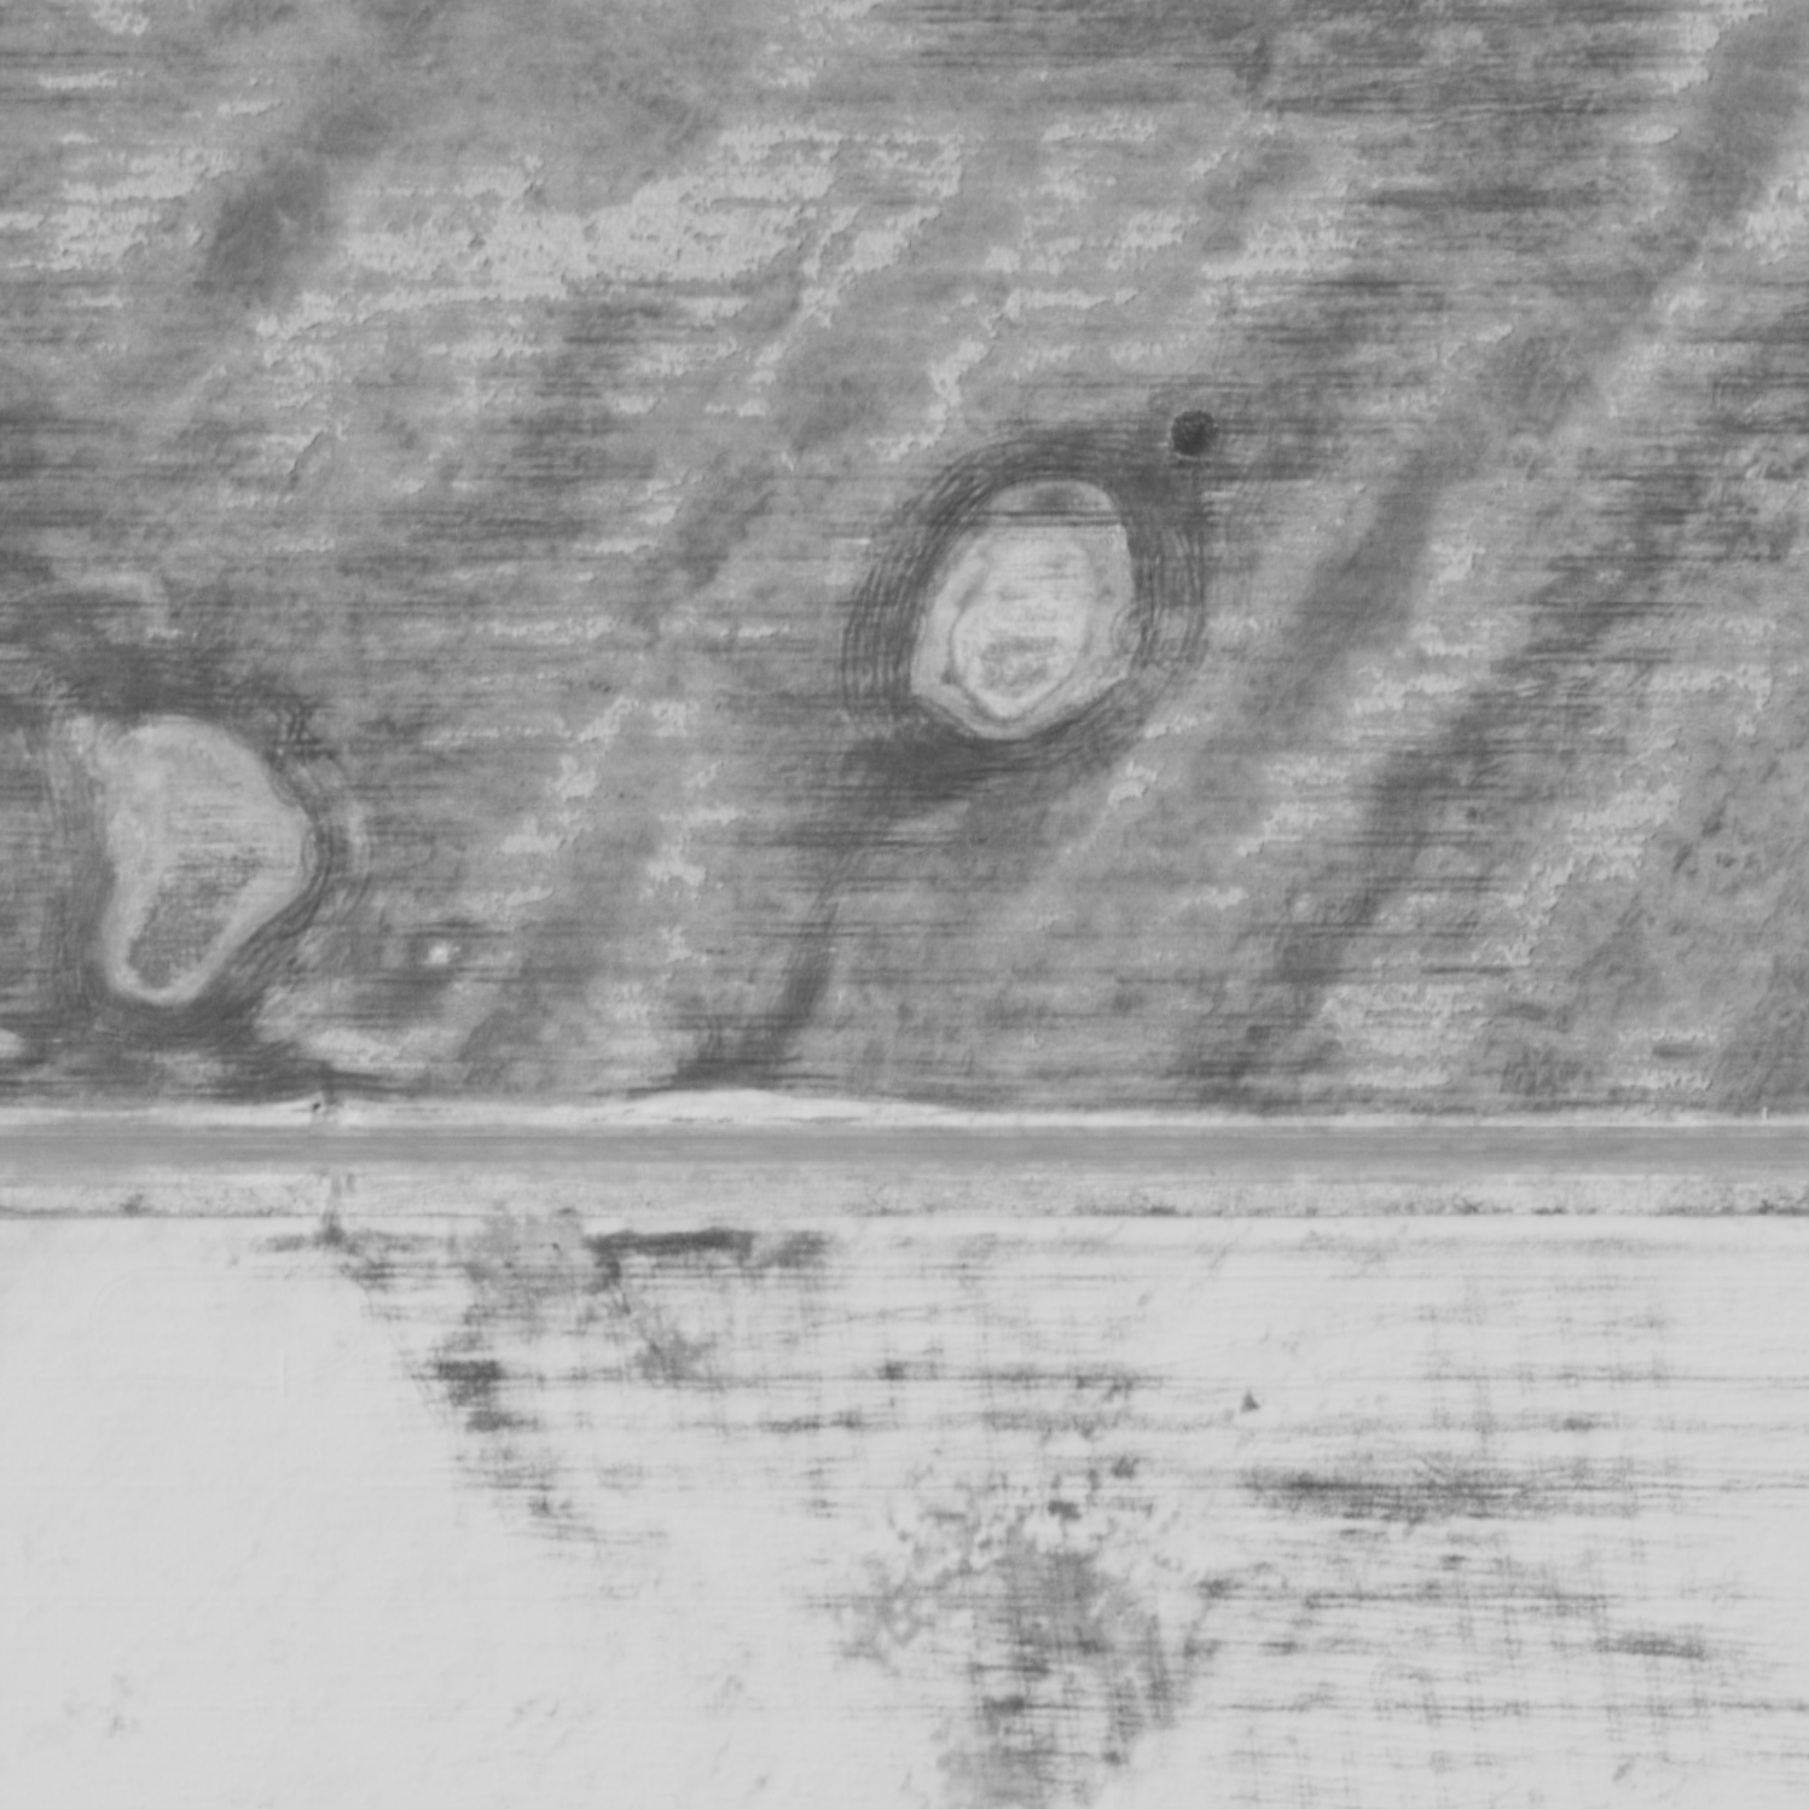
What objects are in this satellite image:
road: (904, 1144)

